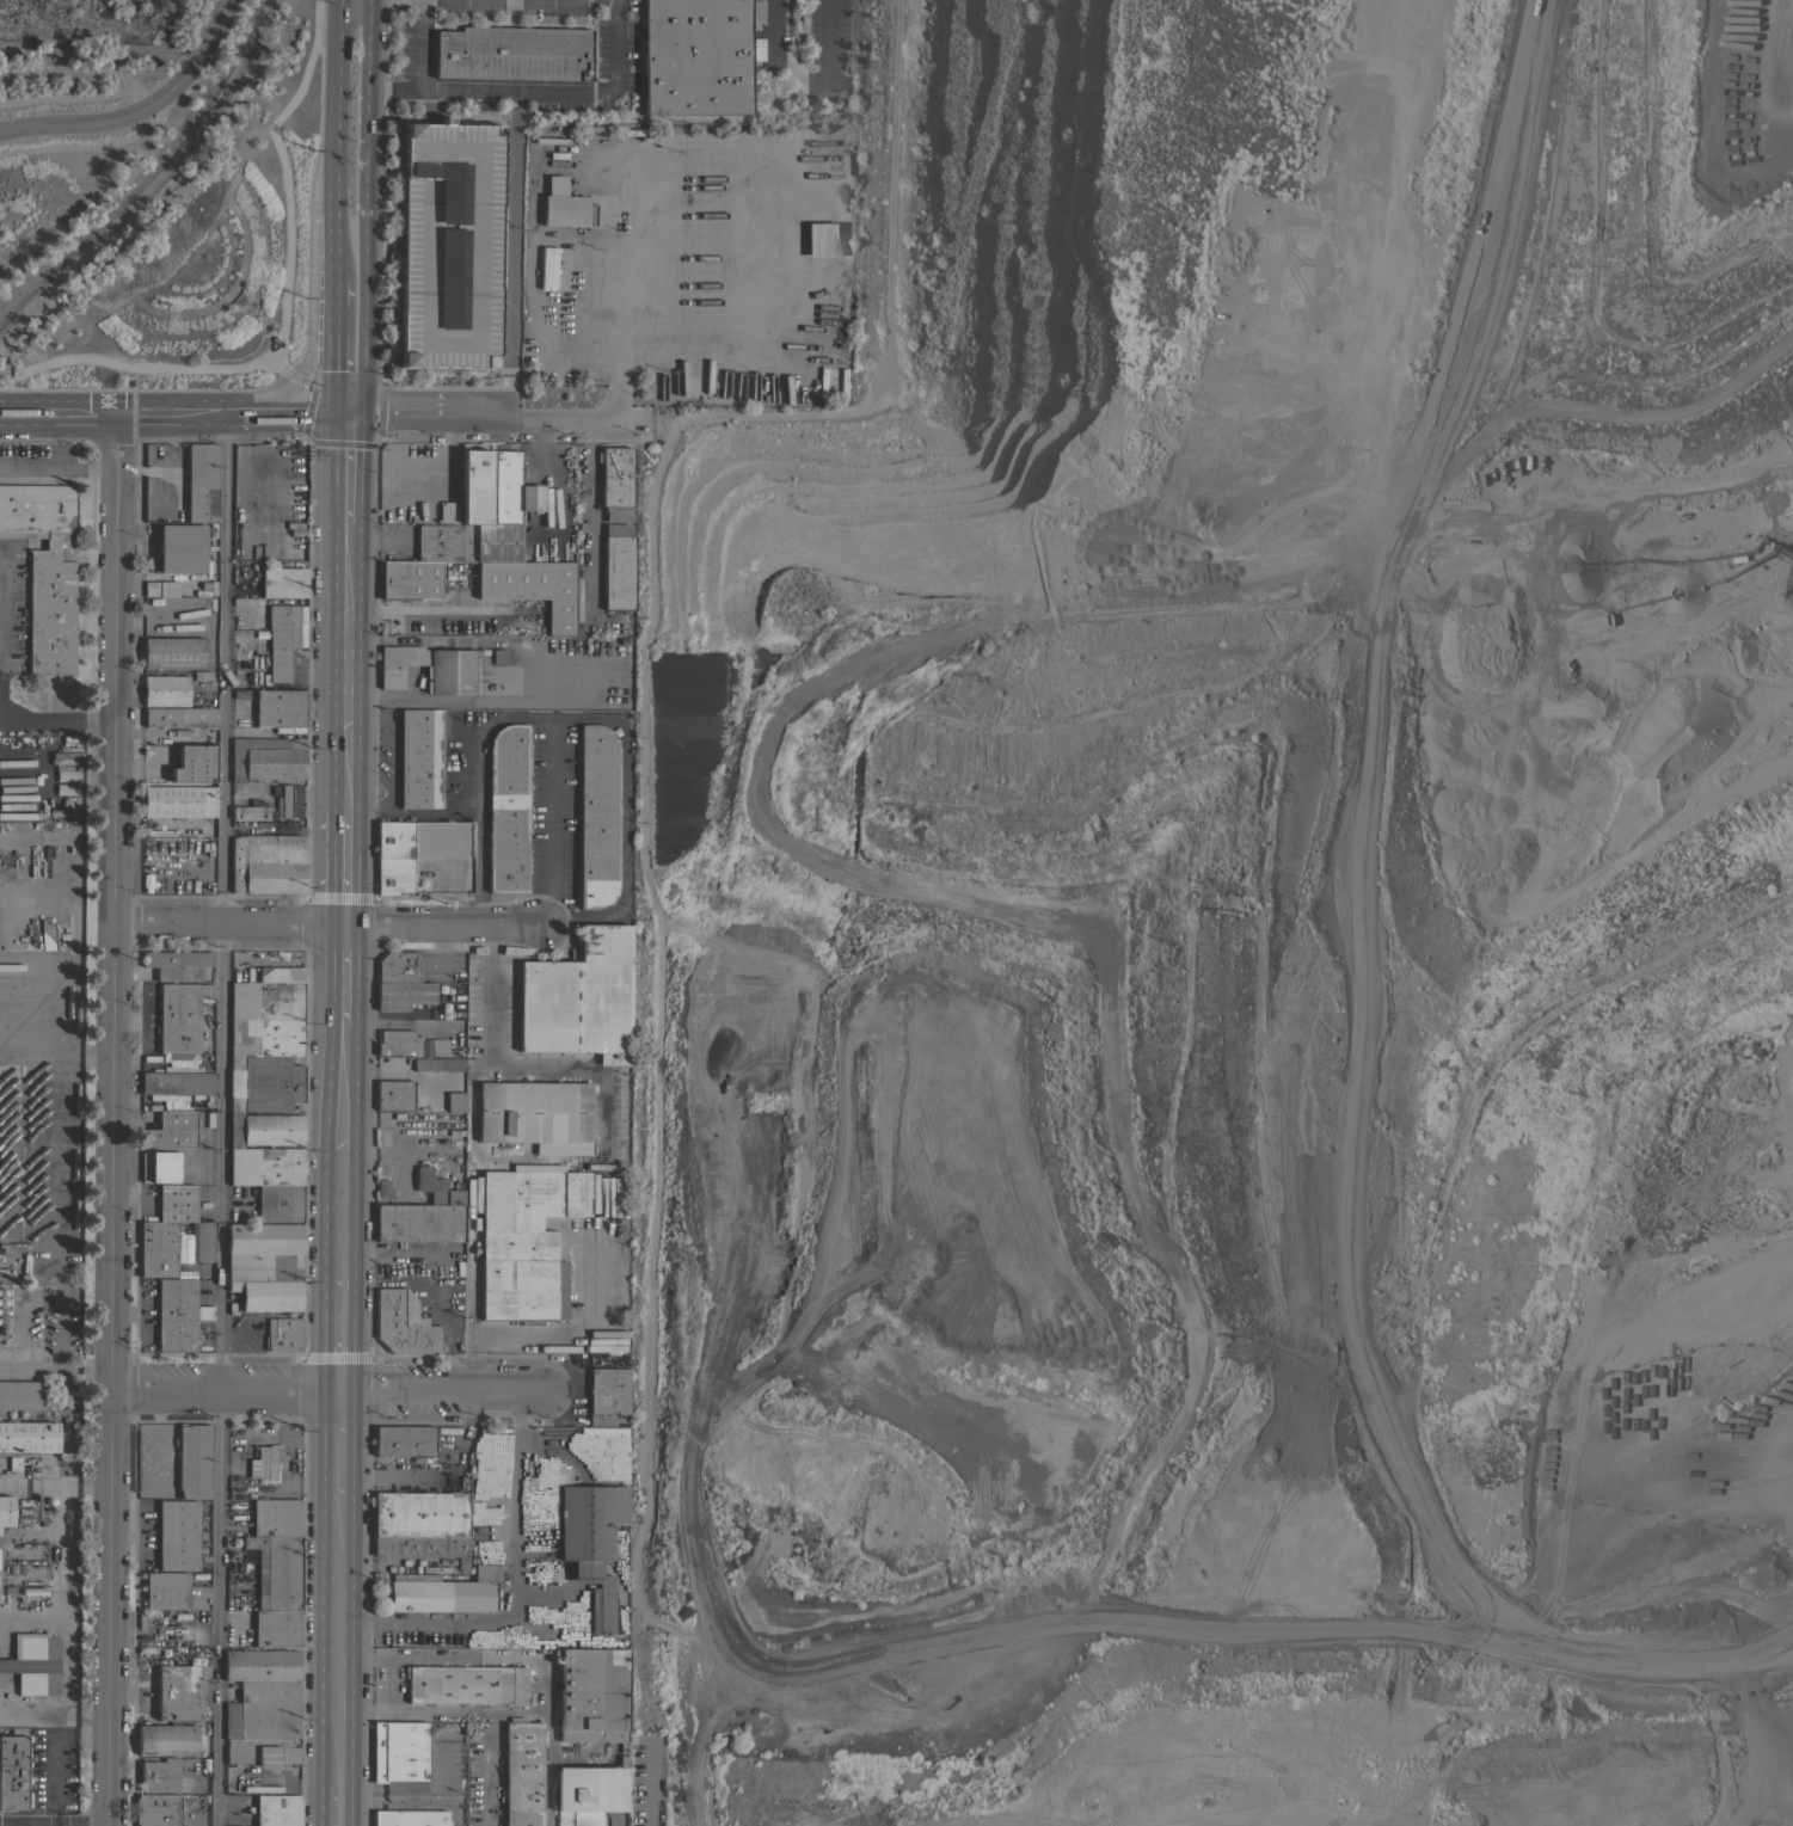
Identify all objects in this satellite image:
building: (512, 54)
building: (698, 55)
road: (806, 75)
road: (523, 92)
road: (338, 96)
road: (145, 115)
railway: (148, 177)
building: (563, 204)
road: (369, 210)
road: (337, 236)
building: (822, 239)
building: (448, 244)
road: (508, 254)
building: (547, 268)
road: (616, 271)
railway: (38, 277)
road: (336, 291)
road: (311, 306)
road: (334, 359)
road: (614, 401)
road: (641, 417)
road: (167, 466)
road: (345, 466)
road: (59, 469)
building: (201, 482)
building: (614, 482)
road: (430, 486)
building: (495, 503)
building: (616, 529)
building: (446, 542)
building: (178, 548)
building: (44, 570)
building: (618, 572)
building: (409, 579)
building: (282, 582)
building: (160, 589)
building: (530, 589)
building: (266, 644)
building: (173, 652)
building: (497, 657)
building: (397, 663)
road: (343, 666)
building: (450, 670)
building: (165, 690)
building: (278, 708)
building: (179, 717)
road: (571, 719)
road: (54, 720)
building: (288, 730)
road: (112, 733)
road: (389, 740)
building: (268, 743)
building: (195, 755)
building: (419, 758)
building: (265, 763)
building: (191, 774)
building: (66, 775)
building: (66, 789)
building: (178, 801)
building: (288, 801)
building: (506, 809)
road: (409, 810)
building: (248, 812)
building: (596, 816)
road: (553, 822)
building: (413, 849)
building: (266, 863)
road: (340, 869)
road: (327, 922)
quarry: (1239, 947)
building: (176, 964)
building: (398, 967)
road: (340, 973)
building: (280, 975)
building: (401, 995)
road: (490, 995)
building: (579, 998)
building: (265, 1000)
building: (179, 1016)
building: (265, 1037)
building: (398, 1043)
building: (444, 1052)
road: (55, 1055)
building: (437, 1064)
building: (177, 1083)
building: (262, 1083)
building: (393, 1095)
building: (454, 1101)
building: (535, 1115)
road: (219, 1119)
building: (263, 1129)
building: (621, 1129)
building: (170, 1130)
road: (340, 1151)
building: (264, 1166)
building: (159, 1167)
building: (538, 1167)
building: (382, 1187)
building: (436, 1188)
building: (176, 1203)
building: (278, 1203)
road: (59, 1213)
building: (417, 1221)
building: (263, 1238)
building: (526, 1241)
building: (171, 1248)
building: (620, 1253)
building: (259, 1268)
building: (270, 1295)
building: (178, 1315)
building: (403, 1324)
building: (282, 1334)
road: (339, 1335)
building: (601, 1345)
road: (85, 1371)
building: (607, 1390)
road: (324, 1391)
building: (20, 1395)
building: (26, 1439)
road: (110, 1439)
building: (405, 1441)
road: (339, 1444)
building: (192, 1461)
building: (262, 1462)
road: (59, 1504)
building: (5, 1511)
building: (420, 1515)
building: (274, 1518)
building: (177, 1536)
building: (591, 1542)
building: (424, 1549)
building: (275, 1572)
building: (165, 1590)
road: (514, 1590)
building: (437, 1594)
building: (275, 1628)
road: (338, 1641)
building: (33, 1664)
building: (263, 1674)
building: (465, 1684)
building: (591, 1686)
road: (544, 1690)
building: (177, 1691)
building: (259, 1720)
building: (595, 1736)
building: (166, 1740)
building: (406, 1747)
building: (258, 1751)
road: (490, 1767)
road: (549, 1767)
building: (12, 1770)
building: (522, 1772)
building: (159, 1775)
road: (646, 1783)
building: (589, 1795)
road: (337, 1805)
building: (276, 1809)
building: (156, 1810)
building: (234, 1818)
building: (409, 1818)
road: (54, 1824)

